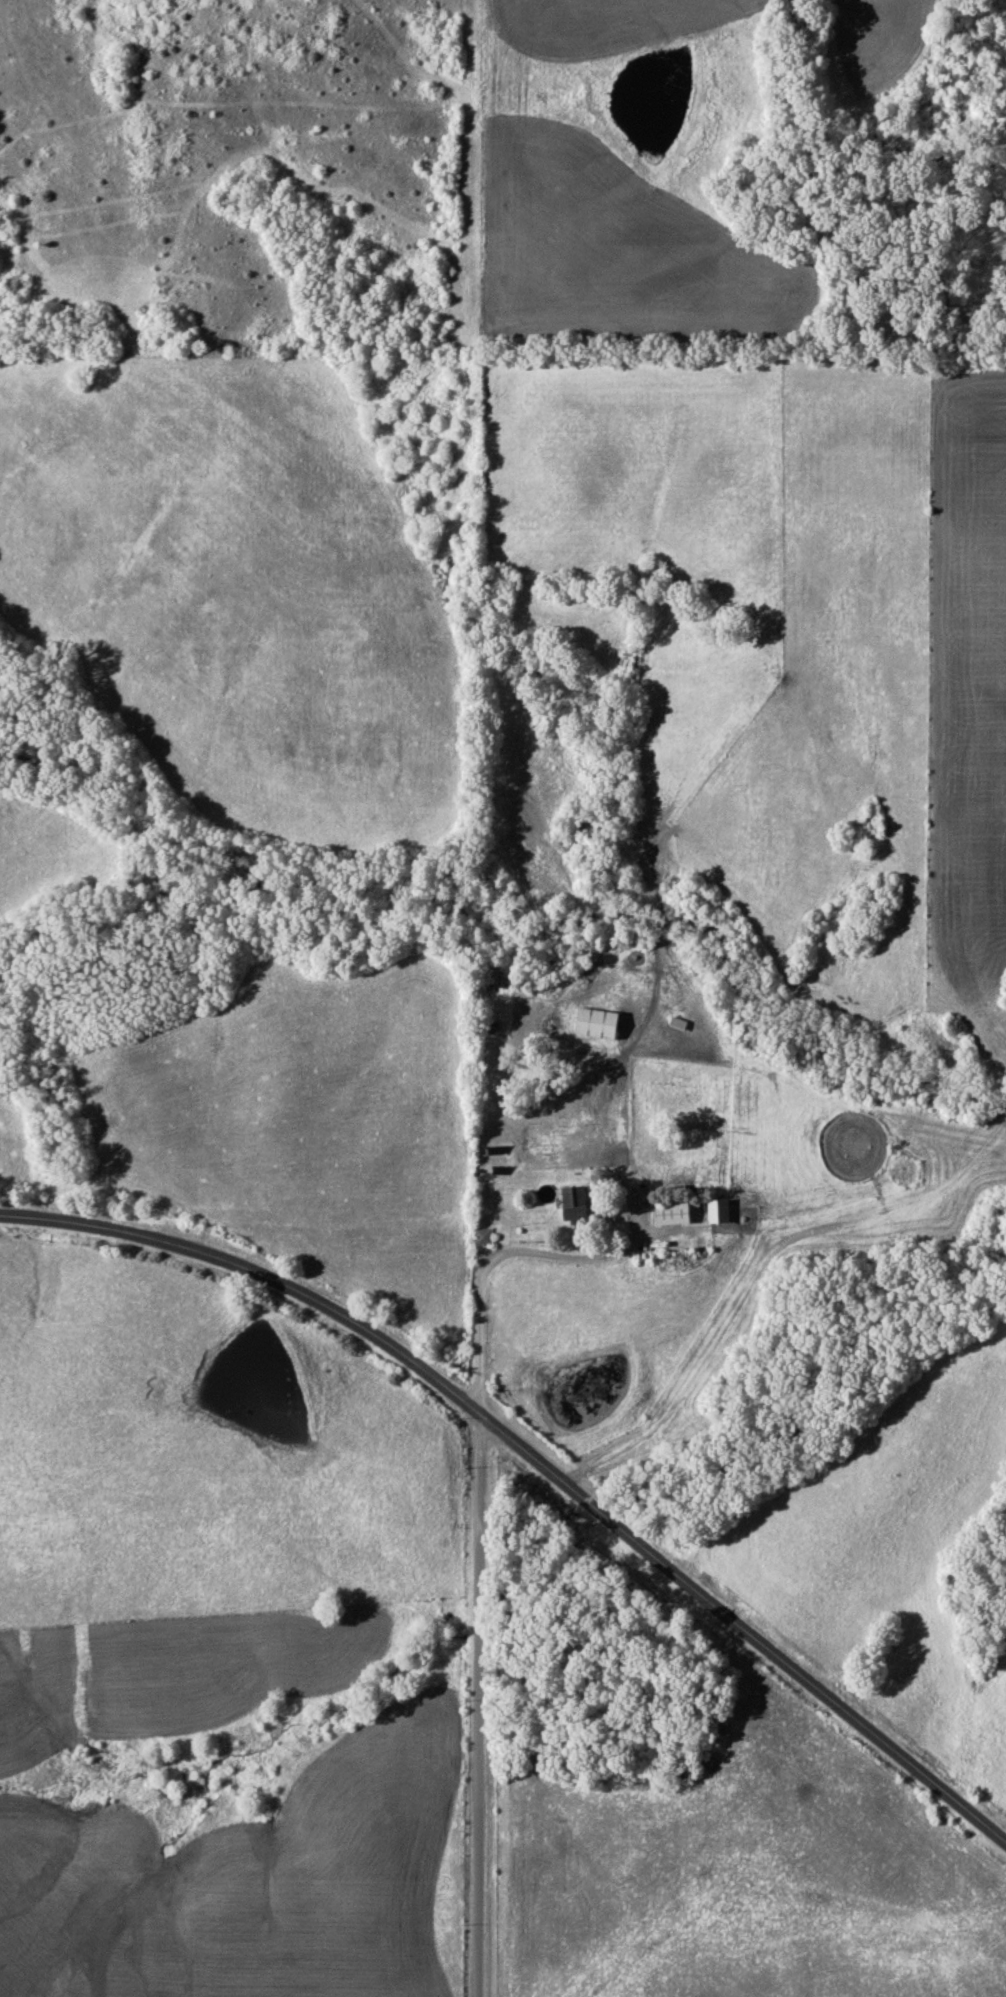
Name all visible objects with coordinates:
building: (603, 1024)
building: (579, 1206)
building: (911, 1207)
building: (724, 1212)
building: (677, 1214)
building: (485, 1237)
road: (491, 1256)
road: (538, 1461)
road: (480, 1705)

